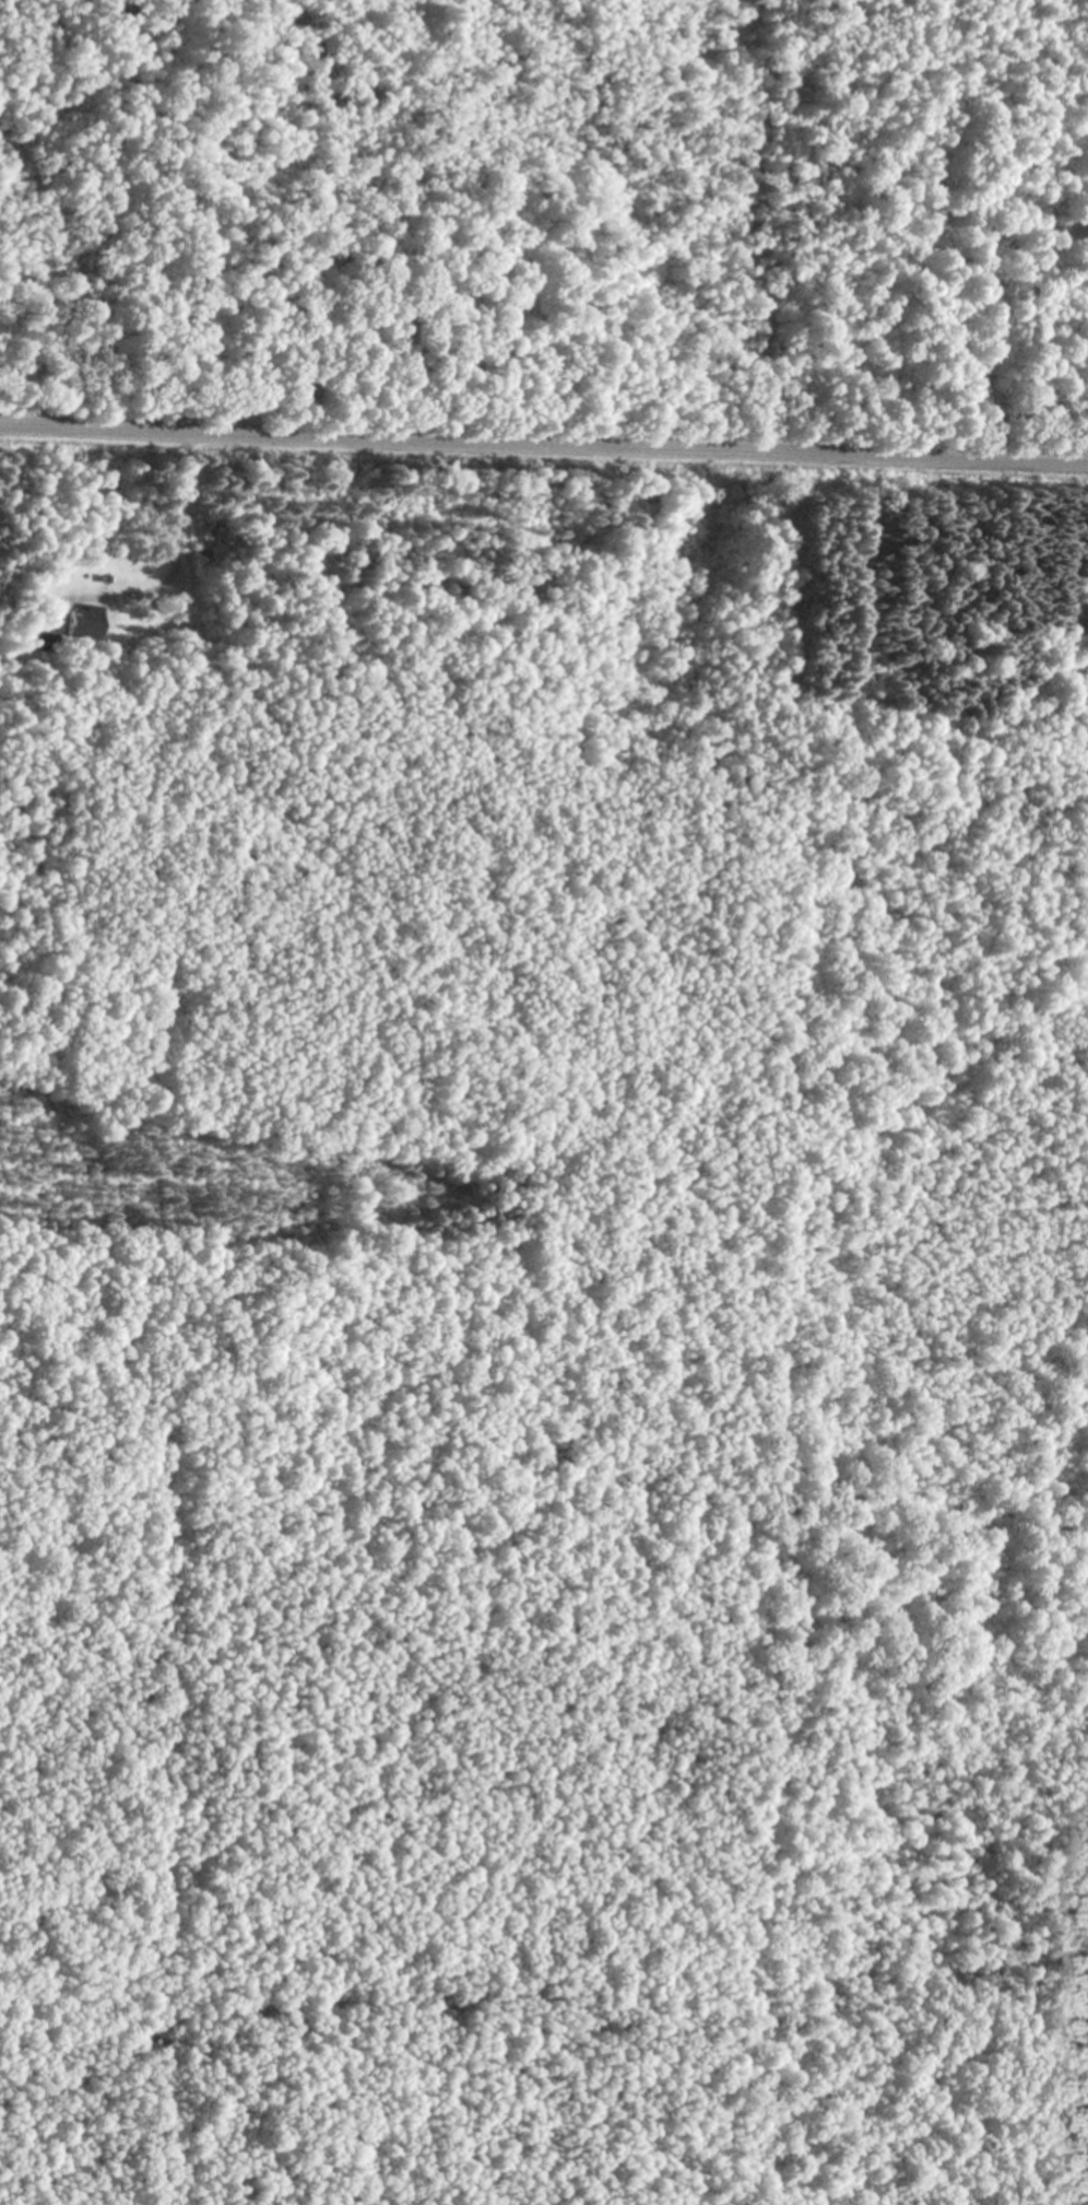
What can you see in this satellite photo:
road: (544, 442)
building: (88, 623)
building: (45, 642)

